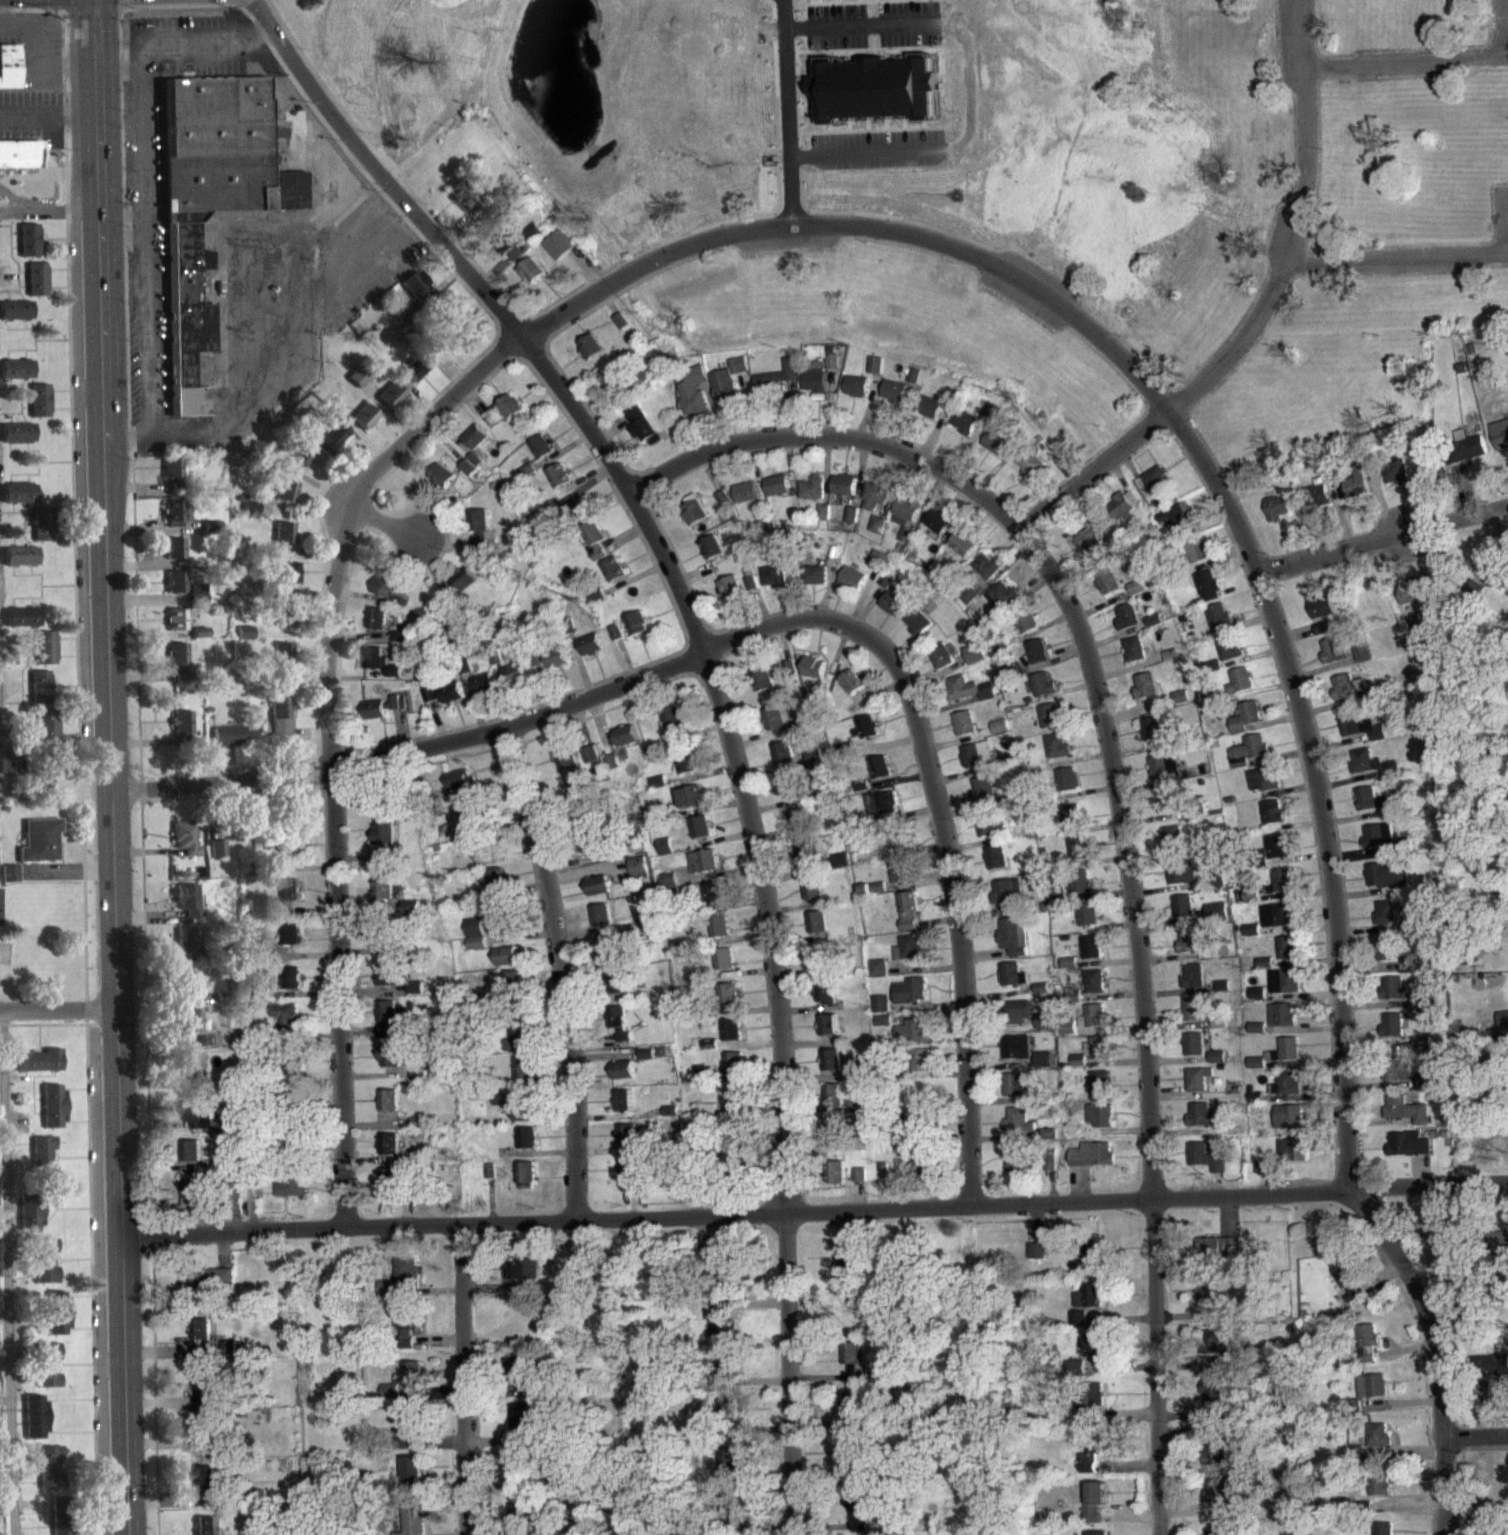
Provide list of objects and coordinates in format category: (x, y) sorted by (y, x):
building: (839, 1)
road: (856, 22)
road: (183, 35)
road: (1406, 58)
road: (119, 69)
building: (9, 74)
building: (874, 98)
road: (785, 118)
road: (861, 152)
road: (145, 158)
building: (20, 162)
building: (461, 204)
road: (49, 208)
building: (211, 211)
road: (123, 224)
building: (29, 248)
building: (560, 253)
building: (508, 256)
road: (1397, 256)
building: (531, 279)
building: (37, 287)
building: (412, 295)
road: (1255, 314)
building: (15, 318)
road: (147, 321)
building: (452, 340)
building: (591, 356)
building: (833, 370)
building: (876, 374)
building: (16, 377)
building: (414, 377)
building: (914, 384)
building: (358, 385)
building: (816, 385)
building: (776, 387)
building: (729, 390)
building: (611, 391)
building: (857, 395)
building: (895, 400)
building: (694, 401)
building: (389, 403)
building: (40, 408)
building: (930, 416)
building: (503, 420)
building: (363, 425)
building: (965, 430)
building: (642, 433)
road: (830, 435)
road: (134, 437)
building: (17, 441)
building: (1500, 442)
building: (475, 446)
building: (333, 447)
building: (997, 450)
building: (1465, 455)
building: (541, 456)
building: (304, 464)
building: (1030, 472)
building: (470, 474)
building: (172, 475)
building: (1156, 478)
building: (1395, 479)
building: (441, 484)
building: (559, 485)
building: (1357, 492)
building: (844, 493)
building: (778, 494)
building: (813, 497)
building: (285, 500)
building: (19, 501)
building: (747, 501)
building: (1124, 503)
building: (876, 505)
building: (1318, 505)
building: (722, 508)
building: (1123, 514)
building: (1175, 516)
building: (1278, 516)
building: (579, 517)
road: (382, 519)
building: (908, 519)
building: (173, 521)
building: (695, 521)
building: (825, 521)
building: (853, 523)
building: (1177, 526)
building: (938, 531)
building: (42, 532)
building: (878, 533)
building: (479, 535)
road: (1384, 539)
building: (283, 541)
building: (1197, 548)
building: (595, 549)
building: (1091, 550)
building: (963, 553)
building: (173, 556)
building: (712, 556)
building: (1197, 560)
building: (20, 564)
road: (1257, 567)
building: (879, 568)
building: (987, 575)
building: (613, 579)
building: (775, 583)
building: (1208, 583)
building: (816, 584)
building: (285, 587)
building: (853, 587)
building: (1499, 587)
building: (175, 590)
building: (1109, 591)
building: (752, 592)
building: (460, 593)
building: (383, 595)
building: (731, 597)
building: (1476, 599)
building: (1410, 600)
building: (893, 603)
building: (1005, 604)
building: (1219, 613)
building: (1321, 614)
building: (285, 624)
building: (1219, 624)
building: (22, 625)
building: (1128, 625)
building: (175, 628)
building: (376, 628)
building: (1027, 629)
building: (1154, 629)
building: (1420, 630)
building: (918, 631)
building: (636, 632)
building: (1323, 635)
building: (243, 640)
building: (616, 641)
building: (1228, 645)
building: (590, 654)
building: (46, 656)
building: (1229, 657)
building: (1135, 658)
building: (1332, 659)
building: (1038, 661)
building: (976, 662)
building: (944, 664)
building: (176, 667)
building: (556, 668)
building: (379, 671)
building: (1213, 674)
building: (790, 676)
building: (815, 676)
building: (1239, 678)
building: (513, 683)
building: (764, 688)
building: (1240, 690)
building: (853, 691)
building: (483, 693)
building: (1044, 694)
building: (1346, 694)
building: (40, 695)
building: (1146, 695)
road: (717, 698)
building: (969, 698)
building: (444, 702)
building: (1180, 706)
building: (1246, 714)
building: (381, 716)
building: (1051, 725)
building: (1246, 726)
building: (775, 727)
building: (279, 728)
building: (673, 729)
building: (180, 730)
building: (965, 732)
building: (48, 735)
building: (1000, 735)
building: (1360, 735)
building: (867, 736)
building: (1153, 738)
road: (329, 742)
building: (226, 744)
building: (623, 745)
road: (413, 748)
building: (1247, 749)
building: (1058, 755)
building: (590, 763)
building: (977, 764)
building: (796, 765)
road: (110, 767)
building: (612, 772)
building: (1373, 773)
building: (7, 774)
building: (1263, 775)
building: (687, 776)
building: (882, 776)
building: (1164, 776)
building: (571, 779)
building: (44, 783)
building: (1263, 787)
building: (1068, 788)
building: (458, 790)
building: (793, 796)
building: (985, 798)
building: (691, 806)
building: (1369, 808)
building: (1272, 809)
building: (1165, 810)
building: (883, 812)
building: (1272, 821)
road: (942, 823)
building: (1070, 824)
building: (801, 829)
building: (990, 832)
building: (701, 836)
building: (383, 838)
building: (1378, 844)
building: (1172, 846)
building: (184, 847)
building: (1274, 847)
building: (39, 849)
building: (898, 851)
building: (593, 854)
building: (291, 856)
building: (1079, 857)
building: (485, 864)
building: (807, 864)
building: (996, 866)
building: (704, 870)
building: (638, 875)
building: (1282, 877)
building: (901, 880)
building: (9, 881)
building: (1181, 881)
building: (1387, 885)
building: (1282, 888)
building: (669, 889)
building: (494, 891)
building: (1083, 891)
building: (597, 894)
building: (813, 897)
building: (874, 897)
building: (290, 899)
building: (1008, 900)
building: (383, 901)
building: (714, 902)
building: (1252, 903)
building: (186, 910)
building: (1276, 912)
building: (1183, 915)
building: (413, 916)
building: (1216, 919)
building: (909, 920)
building: (1390, 922)
building: (1087, 923)
building: (1278, 924)
building: (818, 934)
building: (720, 935)
building: (473, 936)
building: (1252, 939)
building: (290, 942)
building: (1014, 945)
building: (1287, 945)
building: (191, 950)
building: (1190, 950)
building: (476, 951)
building: (1091, 956)
building: (909, 957)
building: (1387, 958)
building: (505, 964)
building: (725, 967)
building: (822, 968)
road: (561, 970)
building: (879, 977)
building: (1284, 977)
building: (1012, 983)
building: (1192, 984)
building: (291, 987)
building: (377, 987)
building: (391, 987)
building: (507, 990)
building: (1093, 990)
building: (1284, 990)
building: (615, 992)
building: (188, 993)
building: (1396, 997)
building: (911, 999)
building: (827, 1001)
building: (1257, 1002)
building: (729, 1003)
road: (57, 1009)
building: (1423, 1011)
building: (1283, 1012)
building: (881, 1013)
road: (1140, 1017)
building: (1193, 1018)
building: (1018, 1020)
building: (1281, 1023)
building: (284, 1024)
building: (1095, 1024)
building: (197, 1026)
building: (389, 1026)
building: (1043, 1030)
building: (1502, 1030)
building: (619, 1032)
building: (829, 1034)
building: (1392, 1034)
building: (1067, 1035)
building: (1258, 1036)
building: (732, 1039)
building: (913, 1040)
building: (1286, 1047)
building: (518, 1053)
building: (1194, 1053)
building: (1016, 1056)
building: (1287, 1058)
building: (1093, 1059)
building: (646, 1063)
building: (389, 1065)
building: (1217, 1065)
building: (39, 1068)
building: (1044, 1068)
building: (832, 1069)
building: (922, 1069)
building: (1256, 1071)
building: (190, 1072)
building: (735, 1072)
building: (521, 1078)
building: (1398, 1078)
building: (623, 1079)
building: (861, 1081)
building: (1285, 1081)
building: (1198, 1088)
building: (1100, 1091)
building: (1425, 1091)
building: (1286, 1093)
building: (1014, 1094)
building: (834, 1103)
building: (1254, 1103)
building: (735, 1106)
building: (388, 1109)
building: (498, 1109)
building: (623, 1109)
building: (52, 1114)
building: (1286, 1114)
building: (1407, 1119)
building: (523, 1123)
building: (194, 1124)
building: (1203, 1124)
building: (1288, 1125)
building: (1103, 1127)
building: (1019, 1130)
building: (835, 1137)
building: (627, 1143)
building: (1049, 1143)
building: (526, 1147)
building: (1292, 1148)
building: (1408, 1153)
building: (386, 1154)
building: (1292, 1159)
building: (190, 1160)
building: (42, 1164)
building: (1089, 1164)
building: (1205, 1166)
building: (1015, 1168)
building: (1260, 1174)
building: (836, 1181)
building: (631, 1182)
building: (860, 1183)
building: (525, 1184)
building: (389, 1191)
building: (195, 1196)
building: (290, 1196)
road: (814, 1212)
building: (30, 1224)
building: (1506, 1247)
building: (1219, 1256)
building: (1037, 1259)
building: (1092, 1264)
building: (45, 1269)
building: (849, 1270)
road: (8, 1272)
building: (511, 1278)
building: (527, 1279)
building: (1344, 1283)
building: (208, 1287)
building: (401, 1287)
building: (1207, 1302)
building: (1090, 1305)
building: (57, 1321)
building: (722, 1326)
building: (1078, 1326)
building: (198, 1338)
building: (404, 1345)
building: (1211, 1351)
building: (1368, 1351)
building: (853, 1370)
building: (48, 1373)
building: (1496, 1375)
road: (466, 1379)
building: (403, 1386)
building: (1371, 1395)
building: (200, 1403)
building: (852, 1411)
building: (1090, 1411)
building: (1350, 1415)
building: (728, 1417)
building: (35, 1426)
building: (521, 1426)
building: (200, 1433)
road: (1475, 1435)
building: (402, 1436)
building: (1378, 1444)
building: (0, 1445)
building: (512, 1452)
building: (855, 1462)
building: (1215, 1462)
building: (1089, 1465)
building: (729, 1475)
building: (50, 1476)
building: (413, 1479)
road: (1444, 1485)
building: (1379, 1494)
building: (204, 1495)
building: (1221, 1507)
building: (1095, 1509)
building: (858, 1516)
building: (60, 1520)
building: (413, 1524)
building: (205, 1530)
building: (1382, 1533)

